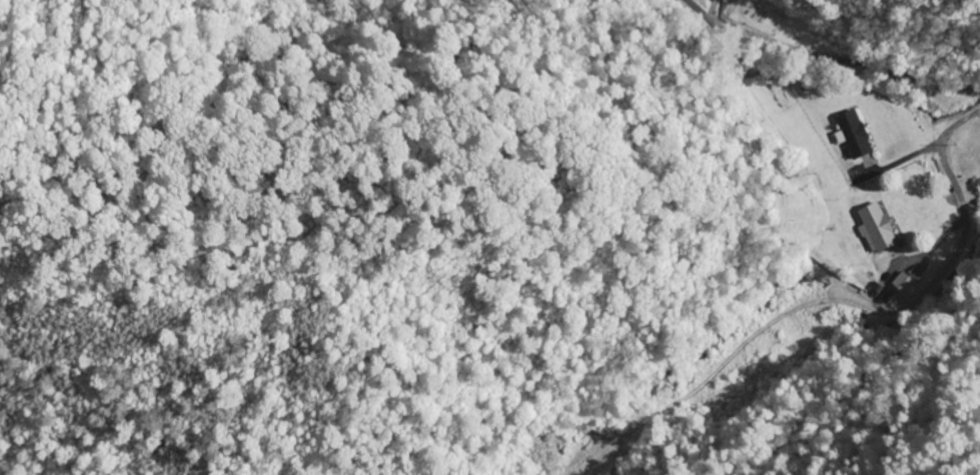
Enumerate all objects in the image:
road: (822, 65)
building: (850, 141)
building: (873, 227)
road: (956, 245)
building: (899, 283)

